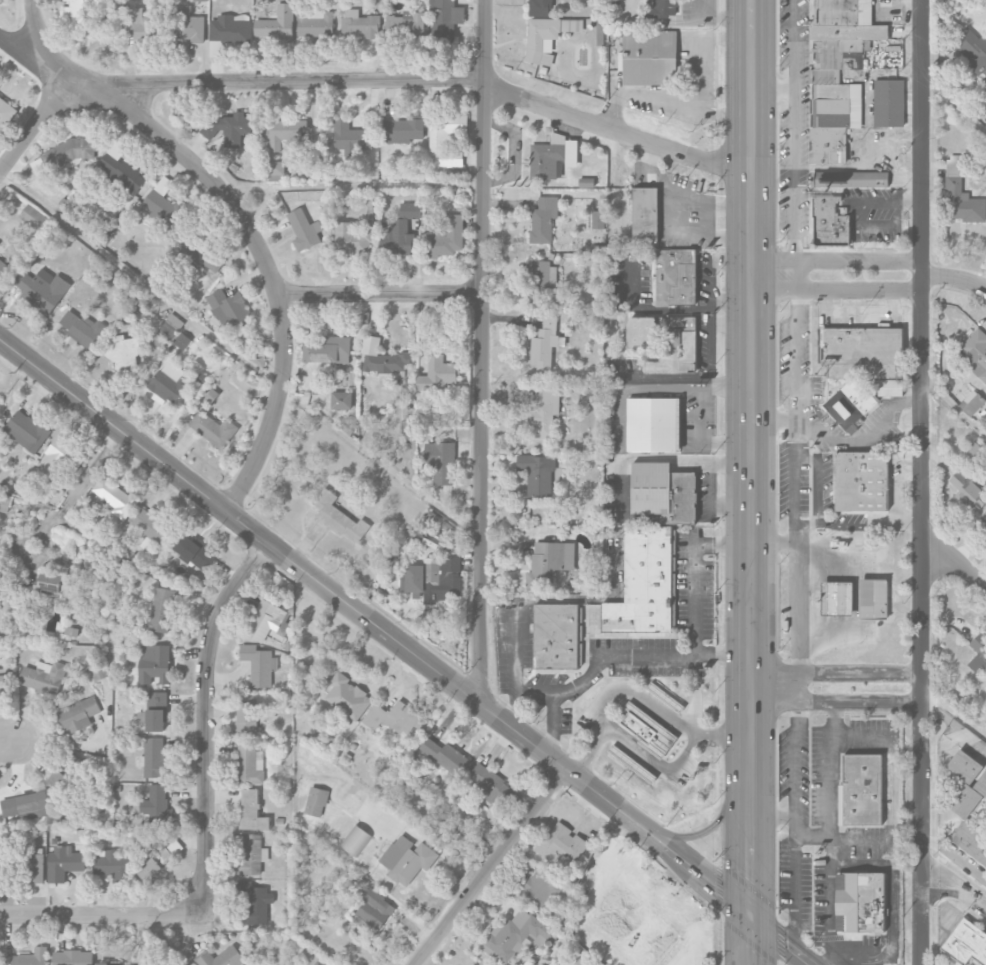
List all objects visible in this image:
building: (200, 0)
road: (893, 1)
building: (540, 7)
building: (662, 9)
building: (81, 14)
building: (445, 18)
building: (315, 23)
building: (277, 24)
building: (359, 24)
building: (406, 24)
building: (188, 26)
building: (229, 29)
road: (36, 33)
building: (547, 35)
building: (215, 49)
building: (973, 50)
building: (649, 57)
building: (547, 59)
building: (837, 73)
road: (870, 79)
road: (378, 80)
road: (773, 88)
building: (889, 103)
road: (953, 103)
building: (983, 105)
building: (6, 113)
road: (36, 128)
building: (405, 129)
building: (286, 131)
road: (898, 134)
building: (351, 136)
road: (794, 137)
building: (446, 139)
building: (68, 152)
building: (552, 157)
building: (276, 171)
building: (120, 172)
building: (850, 179)
building: (961, 195)
road: (910, 201)
building: (410, 210)
building: (645, 214)
building: (33, 217)
building: (543, 219)
building: (598, 219)
building: (829, 222)
road: (858, 224)
building: (304, 230)
building: (397, 238)
building: (447, 238)
building: (351, 239)
building: (200, 255)
road: (729, 259)
road: (265, 260)
building: (3, 268)
road: (869, 275)
building: (676, 277)
building: (22, 280)
road: (709, 286)
building: (45, 290)
road: (381, 295)
building: (228, 308)
road: (669, 310)
building: (82, 328)
building: (182, 341)
building: (665, 341)
building: (544, 344)
road: (795, 346)
building: (328, 350)
building: (975, 351)
building: (123, 352)
road: (482, 352)
building: (381, 358)
road: (238, 361)
building: (437, 374)
building: (168, 383)
building: (890, 388)
road: (658, 391)
building: (341, 400)
building: (972, 402)
road: (954, 405)
building: (544, 412)
building: (653, 424)
building: (213, 429)
building: (26, 431)
road: (867, 437)
road: (700, 443)
road: (795, 458)
building: (57, 459)
building: (537, 474)
road: (819, 478)
building: (861, 481)
road: (749, 482)
road: (923, 482)
road: (78, 487)
building: (967, 490)
road: (897, 495)
building: (113, 497)
building: (339, 518)
building: (983, 521)
road: (807, 524)
road: (859, 525)
building: (154, 527)
building: (652, 550)
building: (194, 552)
road: (955, 556)
building: (549, 562)
road: (695, 573)
building: (434, 578)
building: (52, 584)
road: (799, 590)
building: (838, 598)
building: (873, 598)
road: (530, 600)
building: (160, 611)
building: (265, 620)
building: (556, 636)
road: (407, 649)
road: (643, 654)
building: (979, 654)
building: (154, 663)
building: (258, 664)
building: (98, 671)
building: (43, 677)
building: (3, 681)
road: (835, 687)
road: (635, 692)
road: (695, 694)
building: (348, 697)
building: (665, 698)
road: (553, 705)
building: (156, 711)
building: (78, 714)
road: (953, 715)
building: (396, 718)
road: (205, 719)
building: (246, 719)
road: (956, 724)
road: (981, 727)
building: (647, 730)
road: (795, 753)
building: (446, 756)
building: (154, 758)
building: (249, 762)
road: (654, 762)
road: (831, 762)
building: (964, 766)
building: (61, 780)
building: (981, 784)
building: (491, 785)
building: (861, 789)
building: (316, 801)
building: (965, 801)
building: (25, 807)
building: (156, 807)
building: (252, 811)
road: (827, 838)
building: (355, 840)
building: (970, 841)
building: (561, 845)
building: (249, 854)
road: (956, 856)
building: (407, 859)
building: (63, 862)
building: (158, 862)
building: (113, 865)
road: (909, 865)
road: (489, 866)
building: (35, 868)
road: (954, 884)
road: (791, 892)
building: (539, 893)
road: (829, 897)
building: (860, 902)
building: (257, 903)
building: (374, 909)
road: (103, 915)
traffic signals: (750, 918)
building: (633, 927)
road: (893, 931)
building: (516, 935)
building: (966, 942)
building: (72, 957)
building: (220, 957)
building: (27, 958)
road: (832, 959)
building: (125, 964)

